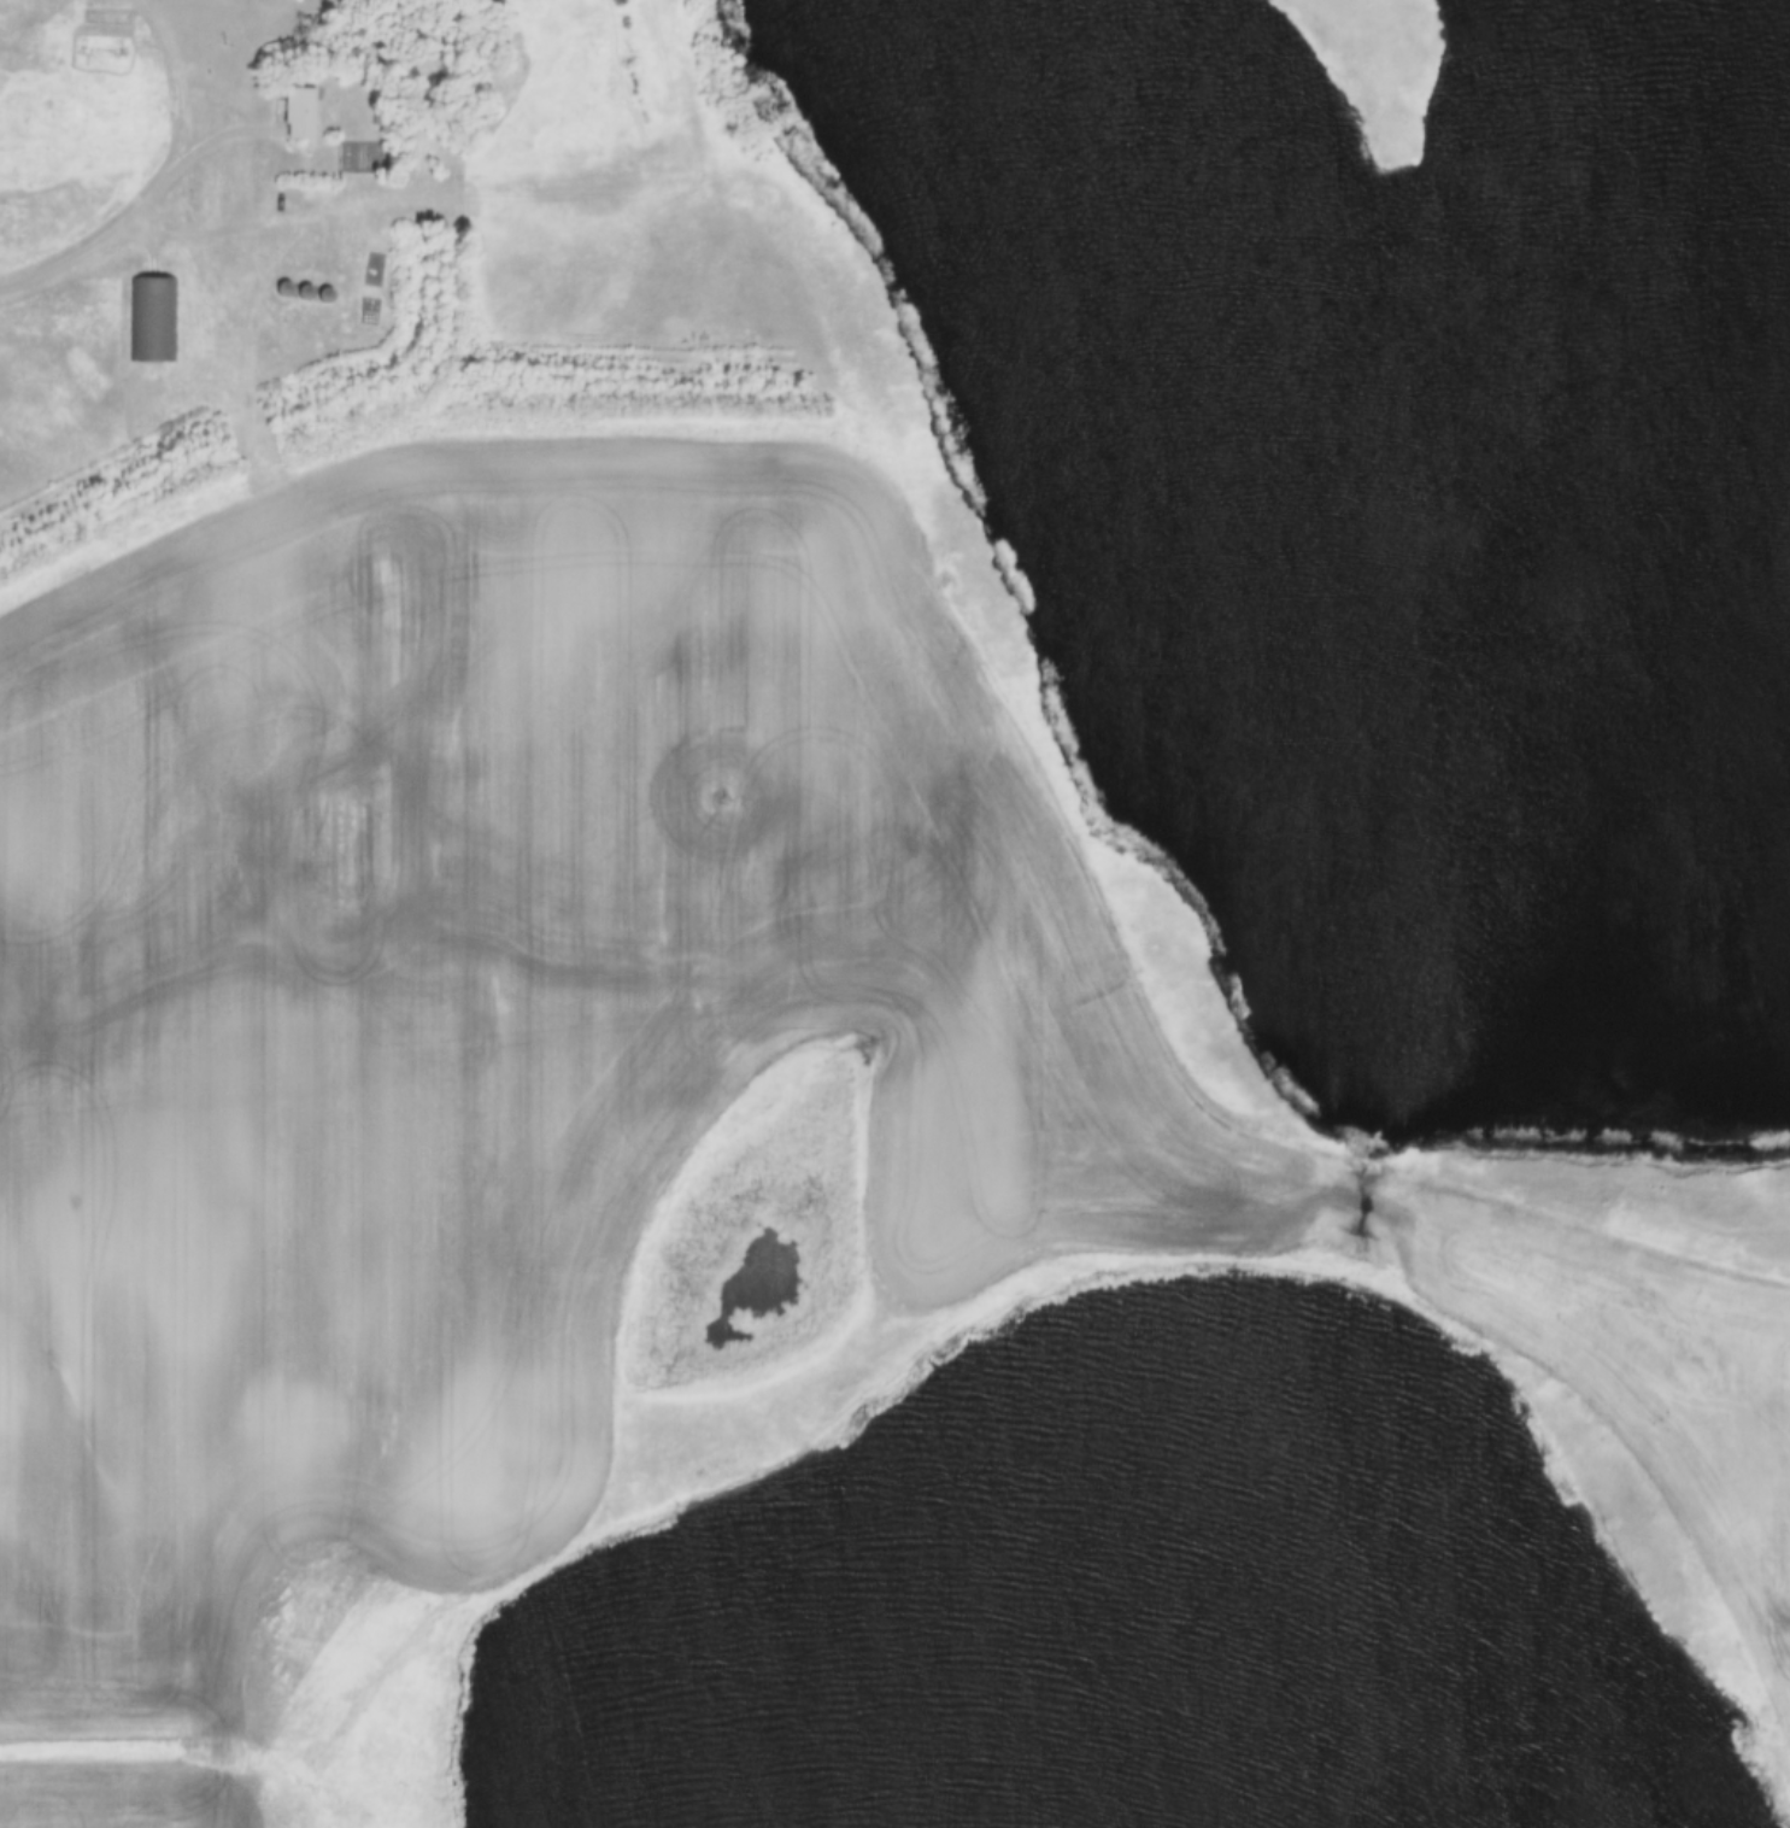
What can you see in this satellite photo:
building: (295, 113)
road: (130, 207)
building: (153, 320)

